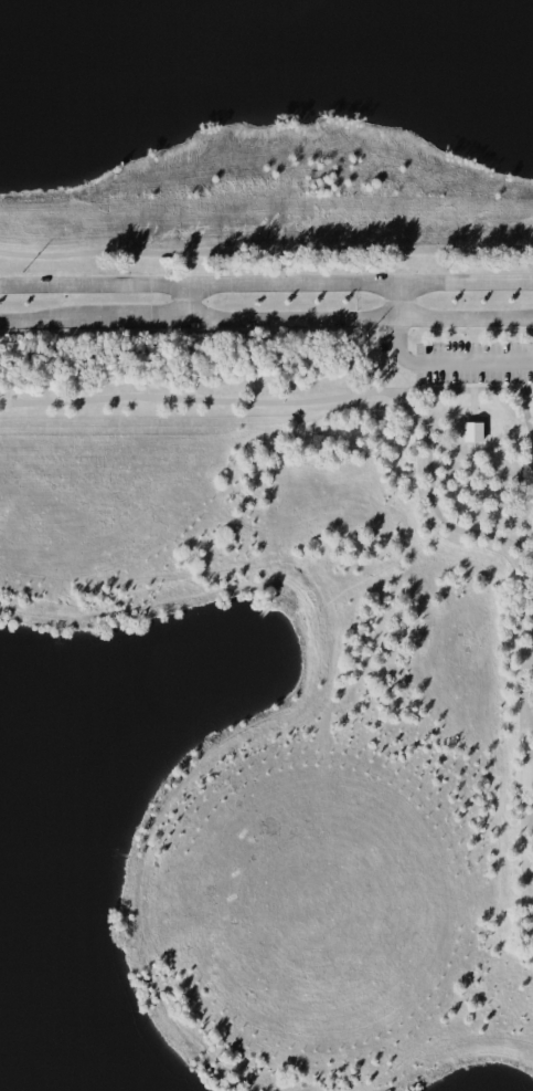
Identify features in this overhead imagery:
road: (266, 249)
road: (266, 286)
road: (185, 302)
road: (397, 302)
road: (266, 317)
road: (448, 361)
parking lot: (473, 363)
road: (473, 389)
road: (213, 401)
road: (6, 402)
road: (471, 405)
road: (525, 408)
road: (473, 419)
building: (472, 431)
park: (480, 487)
road: (431, 502)
road: (526, 543)
park: (253, 548)
road: (531, 634)

